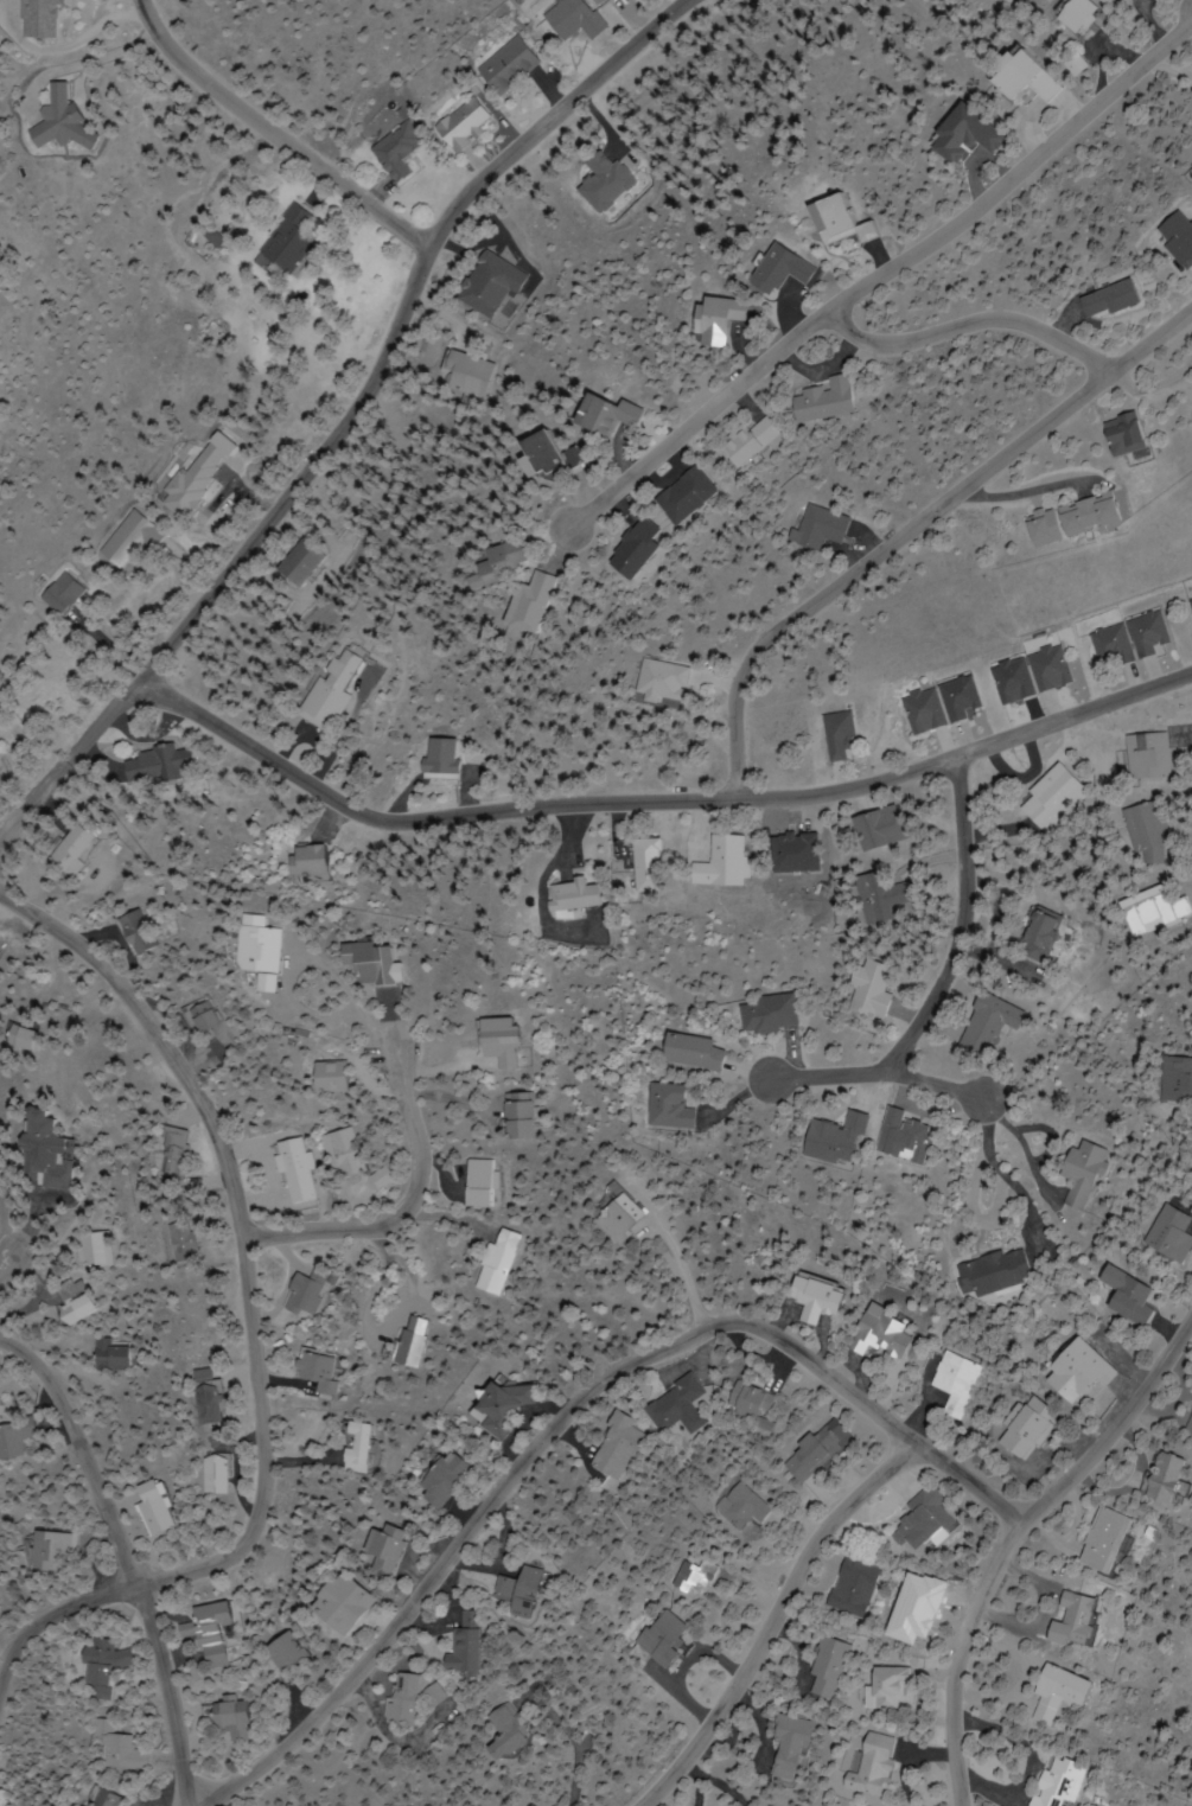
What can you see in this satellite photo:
building: (574, 19)
building: (1075, 64)
building: (506, 66)
building: (1018, 76)
building: (58, 120)
building: (460, 125)
road: (276, 130)
building: (958, 134)
building: (395, 152)
building: (604, 181)
building: (836, 219)
building: (1175, 238)
building: (285, 243)
building: (778, 270)
road: (879, 274)
building: (491, 283)
building: (1103, 299)
building: (714, 319)
road: (967, 323)
road: (401, 326)
building: (464, 375)
building: (817, 400)
building: (603, 416)
building: (1120, 434)
building: (739, 441)
building: (530, 453)
building: (187, 486)
building: (674, 496)
building: (1070, 518)
road: (913, 524)
building: (814, 528)
building: (129, 538)
building: (622, 550)
building: (301, 562)
building: (485, 564)
building: (64, 592)
building: (1191, 600)
building: (516, 604)
building: (1150, 632)
building: (1113, 645)
building: (1052, 668)
building: (659, 681)
building: (1013, 681)
building: (330, 691)
building: (962, 696)
building: (925, 710)
building: (842, 734)
building: (1152, 755)
building: (435, 758)
road: (68, 762)
building: (159, 764)
road: (659, 799)
building: (1050, 804)
building: (881, 827)
building: (1152, 830)
building: (74, 850)
building: (314, 860)
building: (727, 861)
building: (654, 863)
building: (579, 896)
building: (882, 898)
building: (1161, 907)
building: (135, 932)
building: (1043, 934)
building: (0, 949)
building: (260, 951)
building: (372, 963)
road: (951, 979)
building: (875, 987)
building: (773, 1013)
building: (1000, 1016)
building: (197, 1017)
building: (23, 1036)
building: (505, 1039)
building: (694, 1051)
building: (326, 1077)
building: (1175, 1078)
road: (945, 1084)
building: (673, 1106)
building: (522, 1115)
building: (910, 1136)
building: (842, 1138)
building: (179, 1150)
building: (43, 1153)
building: (343, 1154)
building: (300, 1170)
building: (1086, 1170)
building: (482, 1181)
road: (410, 1207)
building: (619, 1217)
building: (1173, 1234)
building: (95, 1250)
building: (504, 1261)
road: (11, 1262)
building: (999, 1271)
building: (313, 1291)
building: (1129, 1296)
building: (812, 1298)
building: (72, 1303)
road: (260, 1322)
building: (879, 1336)
building: (419, 1340)
building: (109, 1357)
building: (1078, 1370)
building: (325, 1371)
building: (958, 1383)
building: (748, 1400)
building: (210, 1404)
building: (504, 1406)
building: (674, 1406)
building: (1027, 1427)
building: (1188, 1427)
building: (15, 1436)
building: (361, 1447)
building: (612, 1447)
building: (810, 1453)
road: (528, 1463)
building: (221, 1475)
building: (1159, 1476)
building: (444, 1479)
road: (974, 1482)
building: (154, 1507)
building: (740, 1507)
building: (926, 1523)
building: (1102, 1540)
road: (1016, 1542)
building: (384, 1551)
building: (52, 1555)
road: (128, 1556)
building: (691, 1577)
building: (854, 1588)
building: (516, 1591)
building: (342, 1604)
building: (1069, 1620)
road: (777, 1622)
building: (211, 1633)
building: (656, 1638)
building: (459, 1652)
building: (288, 1653)
building: (101, 1663)
building: (826, 1668)
building: (885, 1686)
building: (1052, 1693)
building: (401, 1699)
building: (235, 1718)
building: (496, 1730)
road: (572, 1743)
building: (785, 1744)
building: (117, 1747)
building: (867, 1766)
building: (1054, 1781)
building: (103, 1799)

